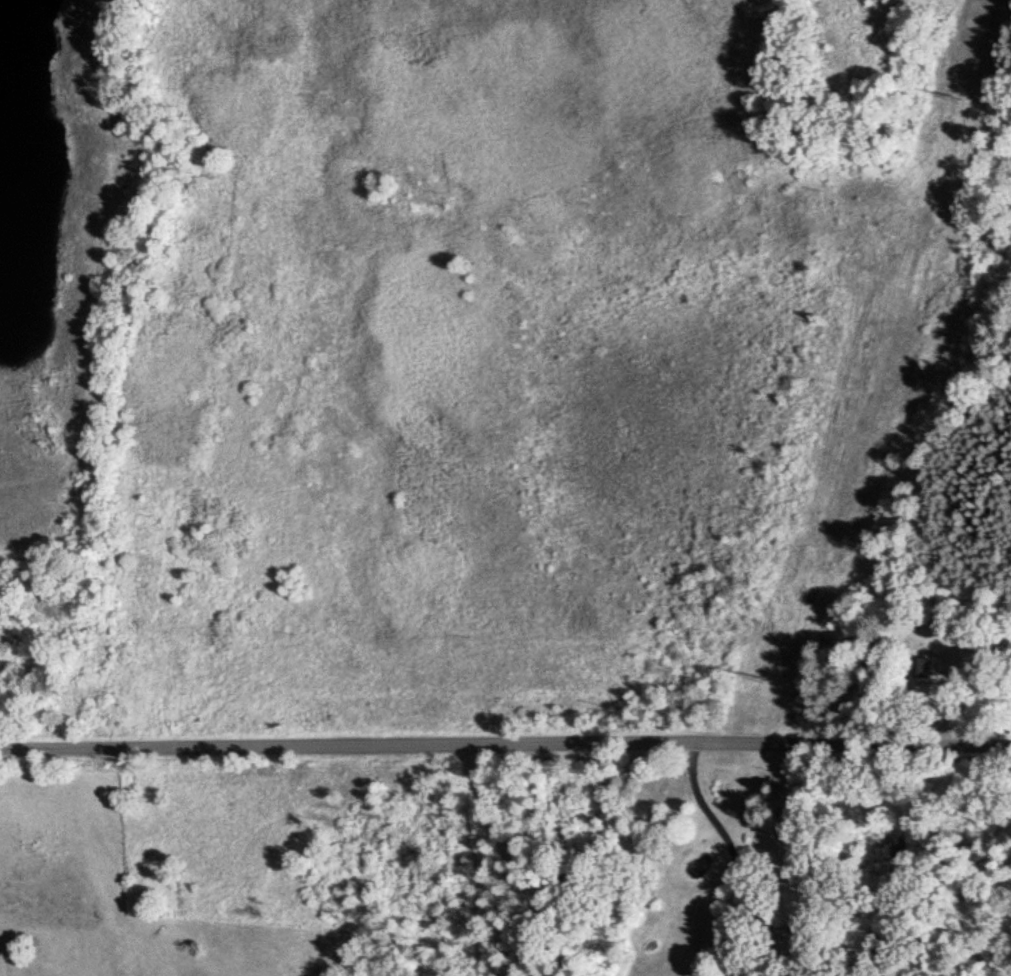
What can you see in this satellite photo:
power tower: (954, 94)
building: (923, 665)
power tower: (765, 675)
road: (505, 746)
road: (527, 806)
road: (504, 856)
road: (732, 861)

